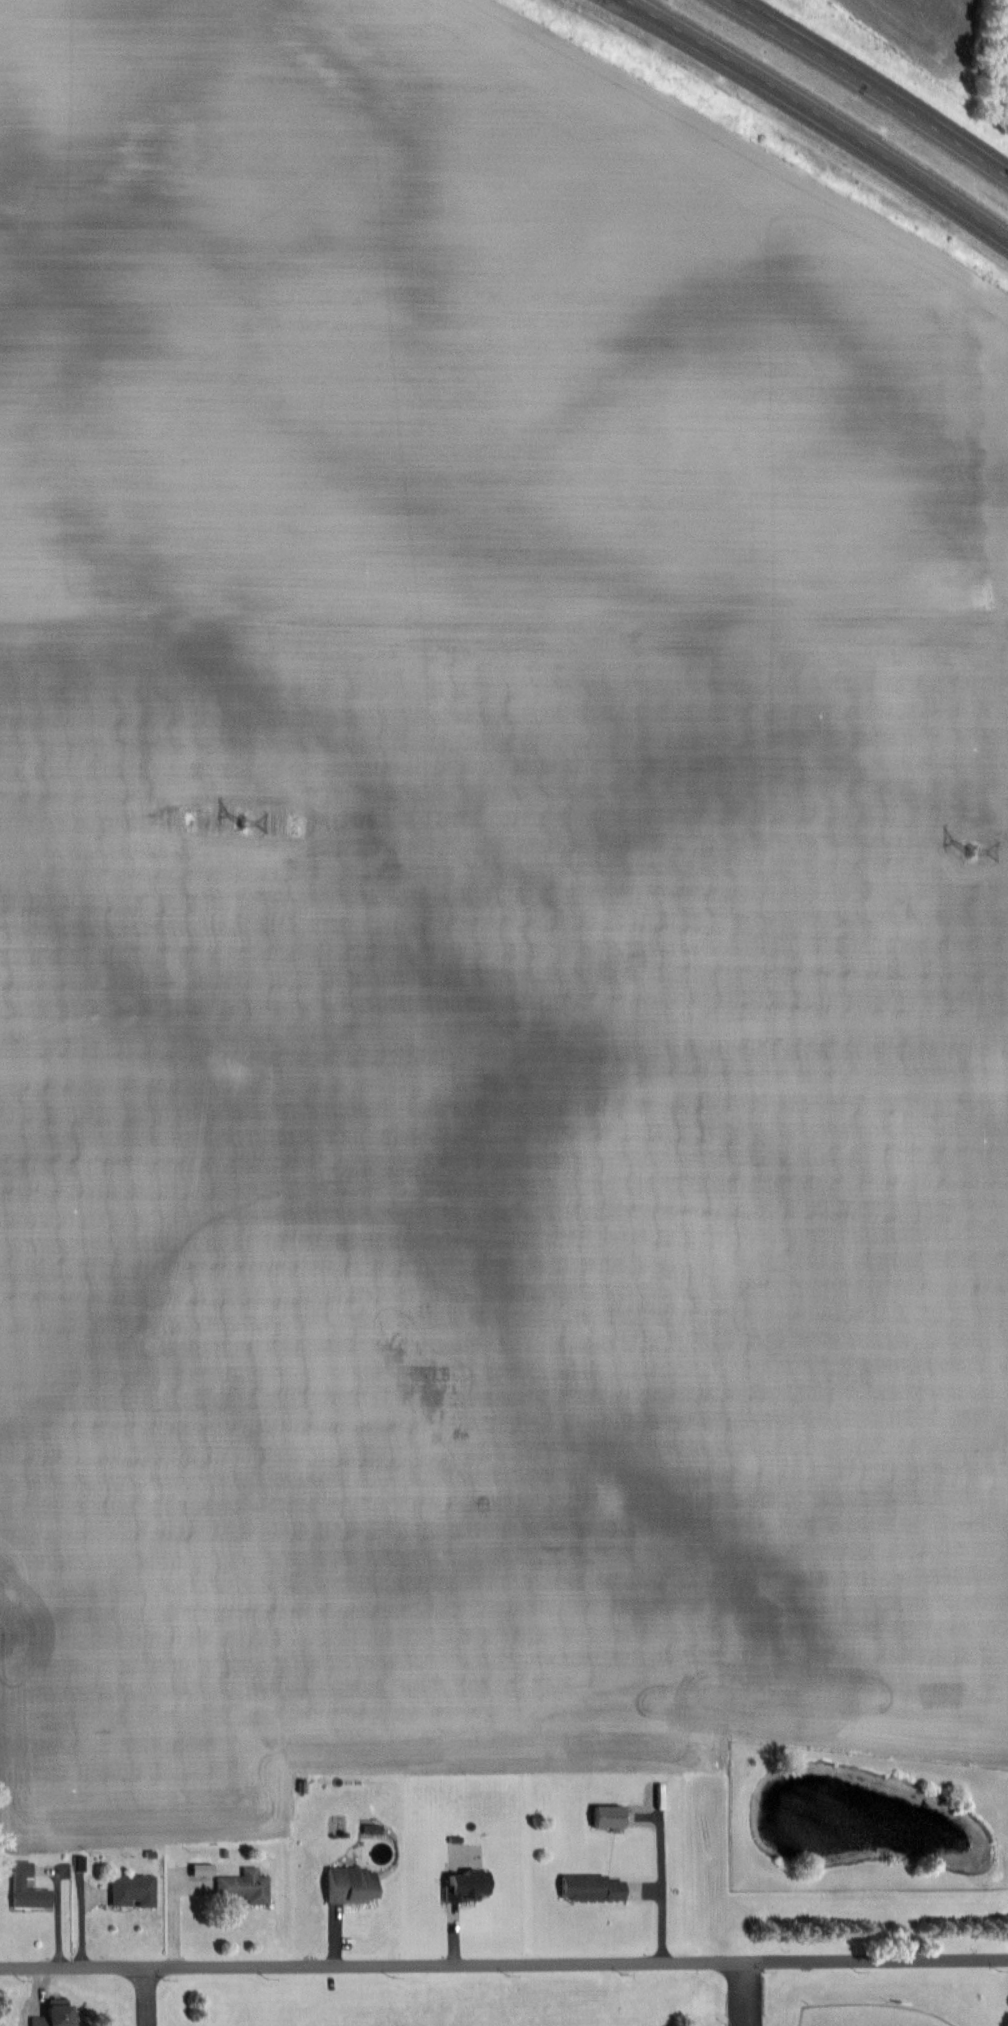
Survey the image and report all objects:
road: (869, 85)
road: (820, 115)
building: (242, 1885)
building: (345, 1885)
building: (457, 1886)
building: (24, 1888)
building: (129, 1891)
road: (504, 1963)
road: (739, 1993)
road: (146, 1997)
building: (48, 2014)

